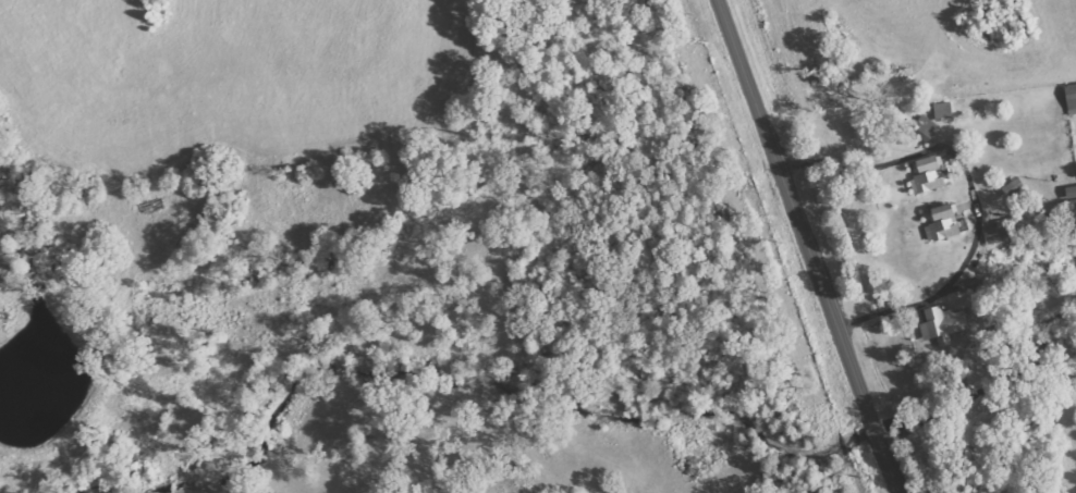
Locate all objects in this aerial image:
building: (1073, 97)
building: (930, 176)
building: (946, 224)
building: (999, 232)
road: (806, 246)
building: (945, 324)

